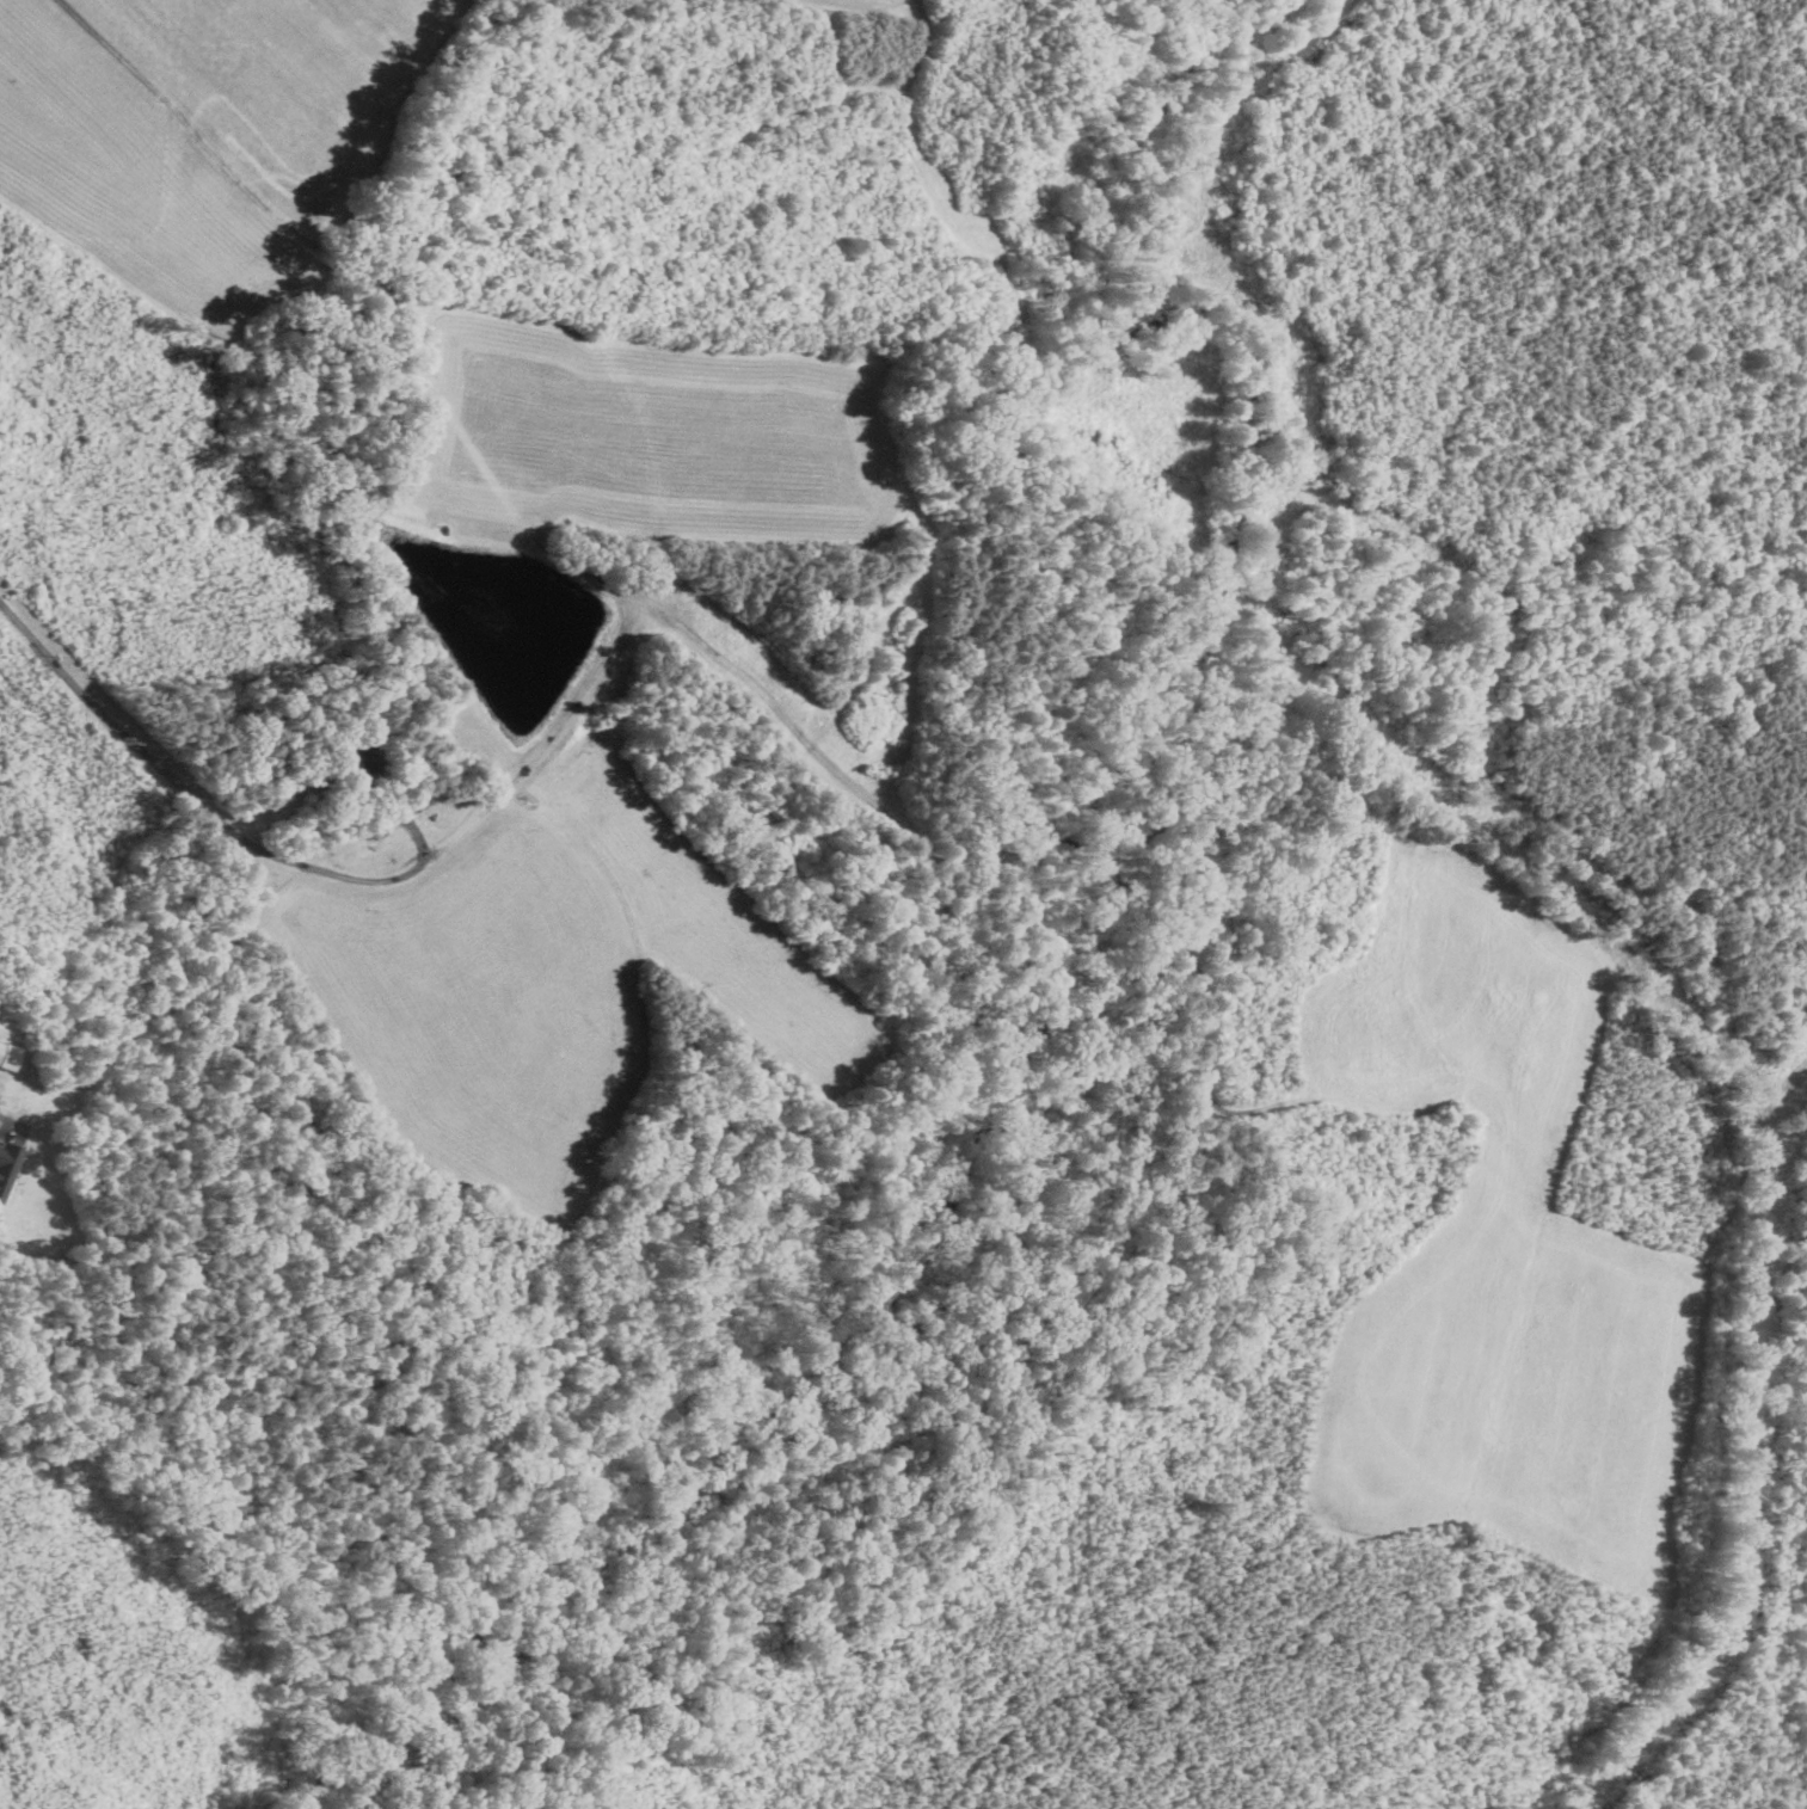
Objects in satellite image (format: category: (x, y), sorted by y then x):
road: (208, 808)
building: (8, 1056)
building: (7, 1165)

